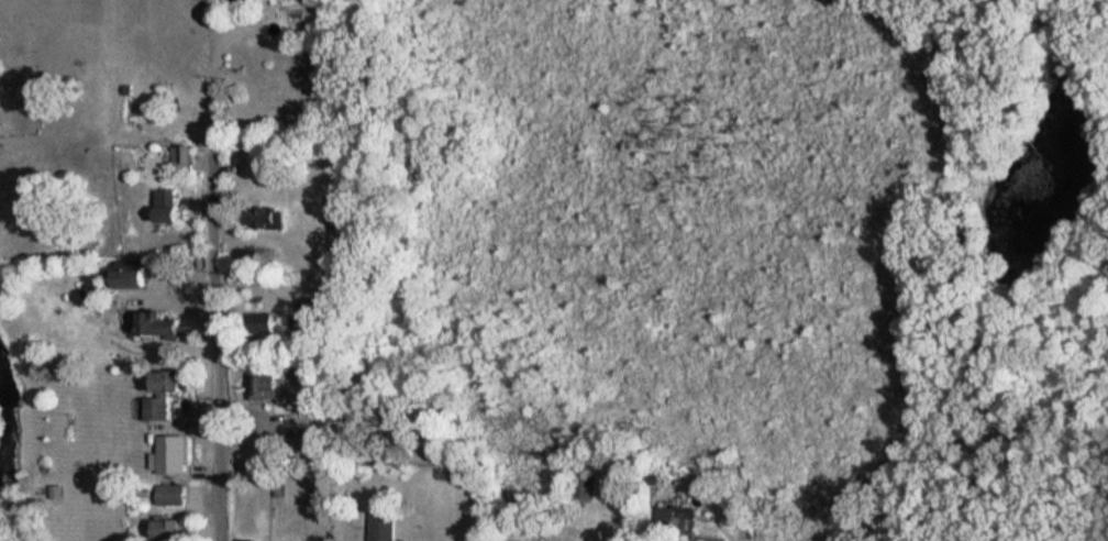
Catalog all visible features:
building: (278, 0)
road: (220, 58)
building: (185, 162)
building: (280, 168)
building: (169, 210)
building: (264, 219)
park: (731, 227)
building: (130, 274)
building: (308, 305)
building: (157, 320)
building: (264, 320)
road: (215, 329)
building: (265, 384)
building: (162, 390)
building: (298, 440)
building: (169, 452)
building: (580, 488)
building: (174, 493)
building: (381, 523)
building: (170, 526)
building: (247, 537)
building: (518, 539)

